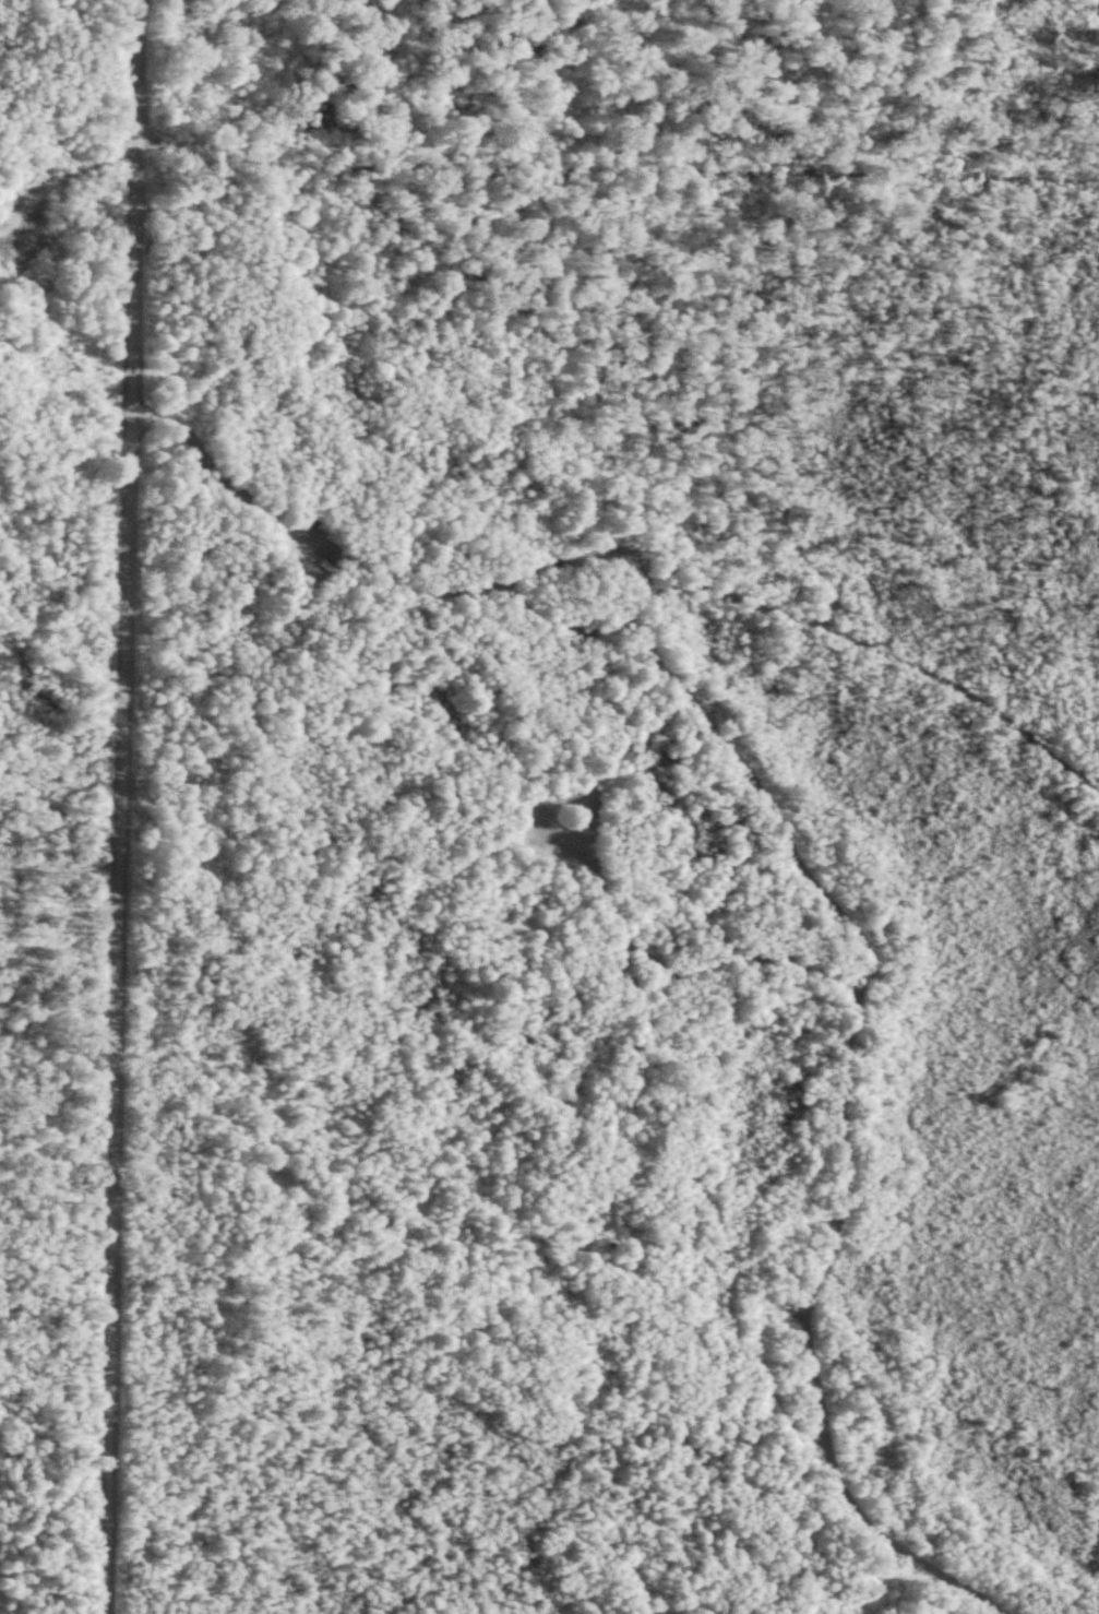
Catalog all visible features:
road: (73, 142)
road: (135, 151)
road: (623, 154)
road: (129, 806)

